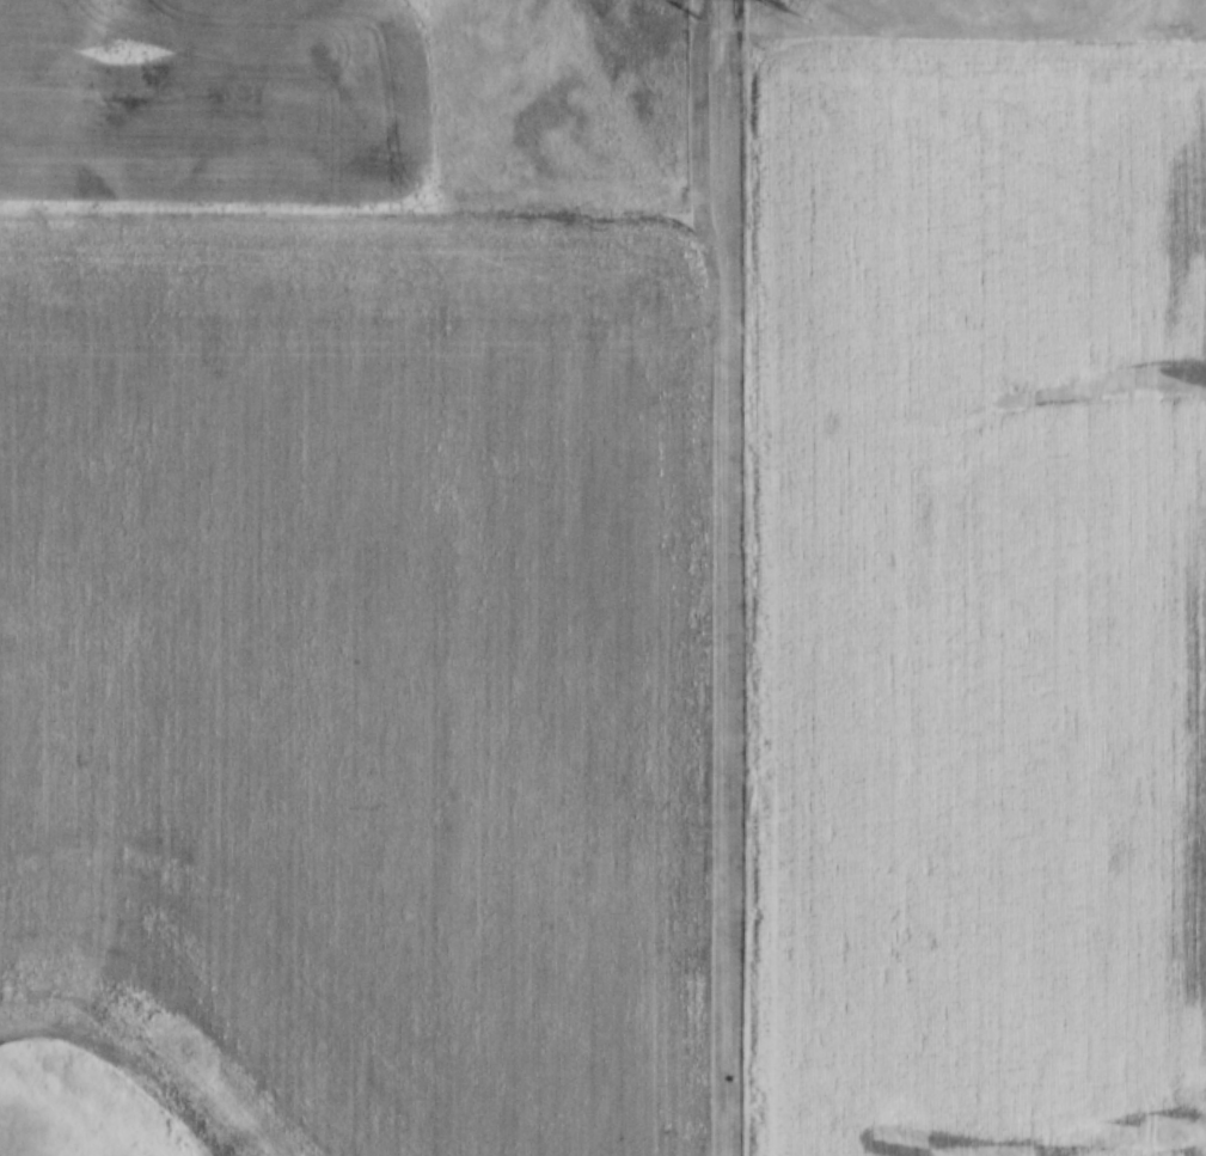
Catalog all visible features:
road: (734, 577)

